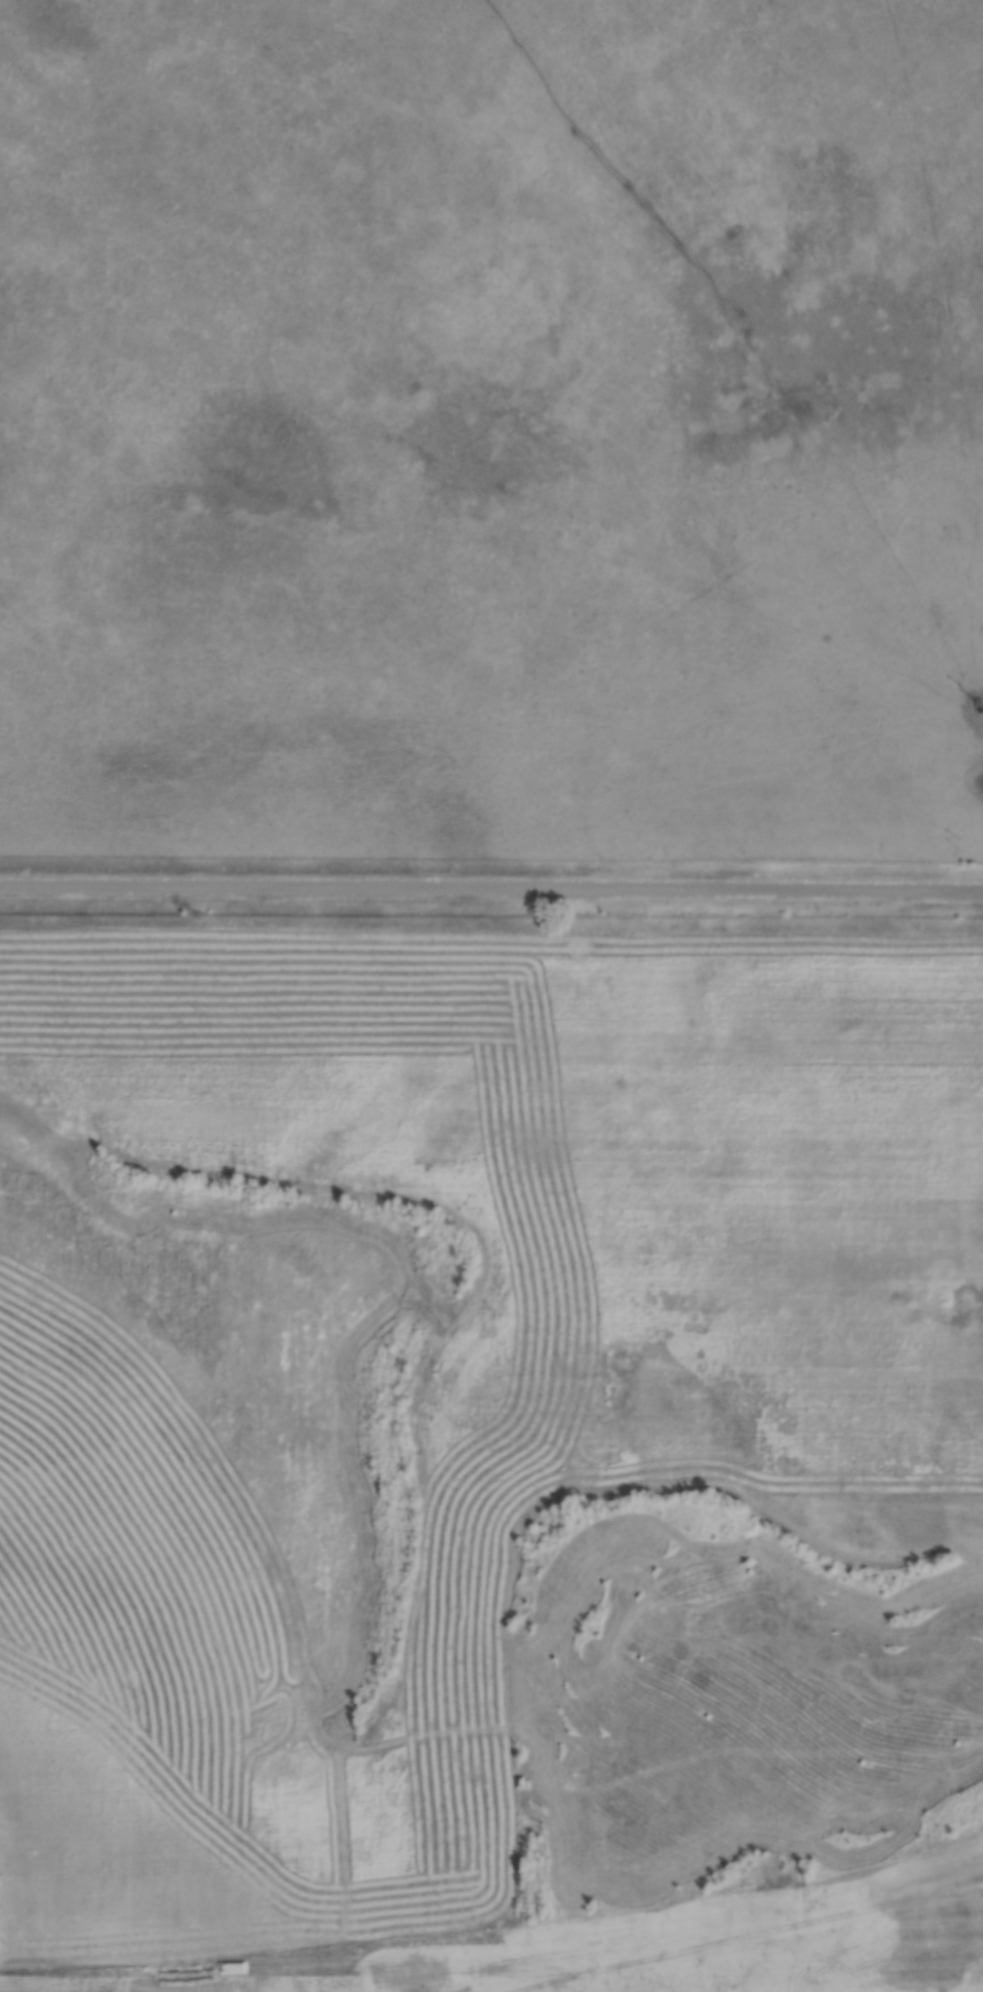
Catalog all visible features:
road: (491, 887)

